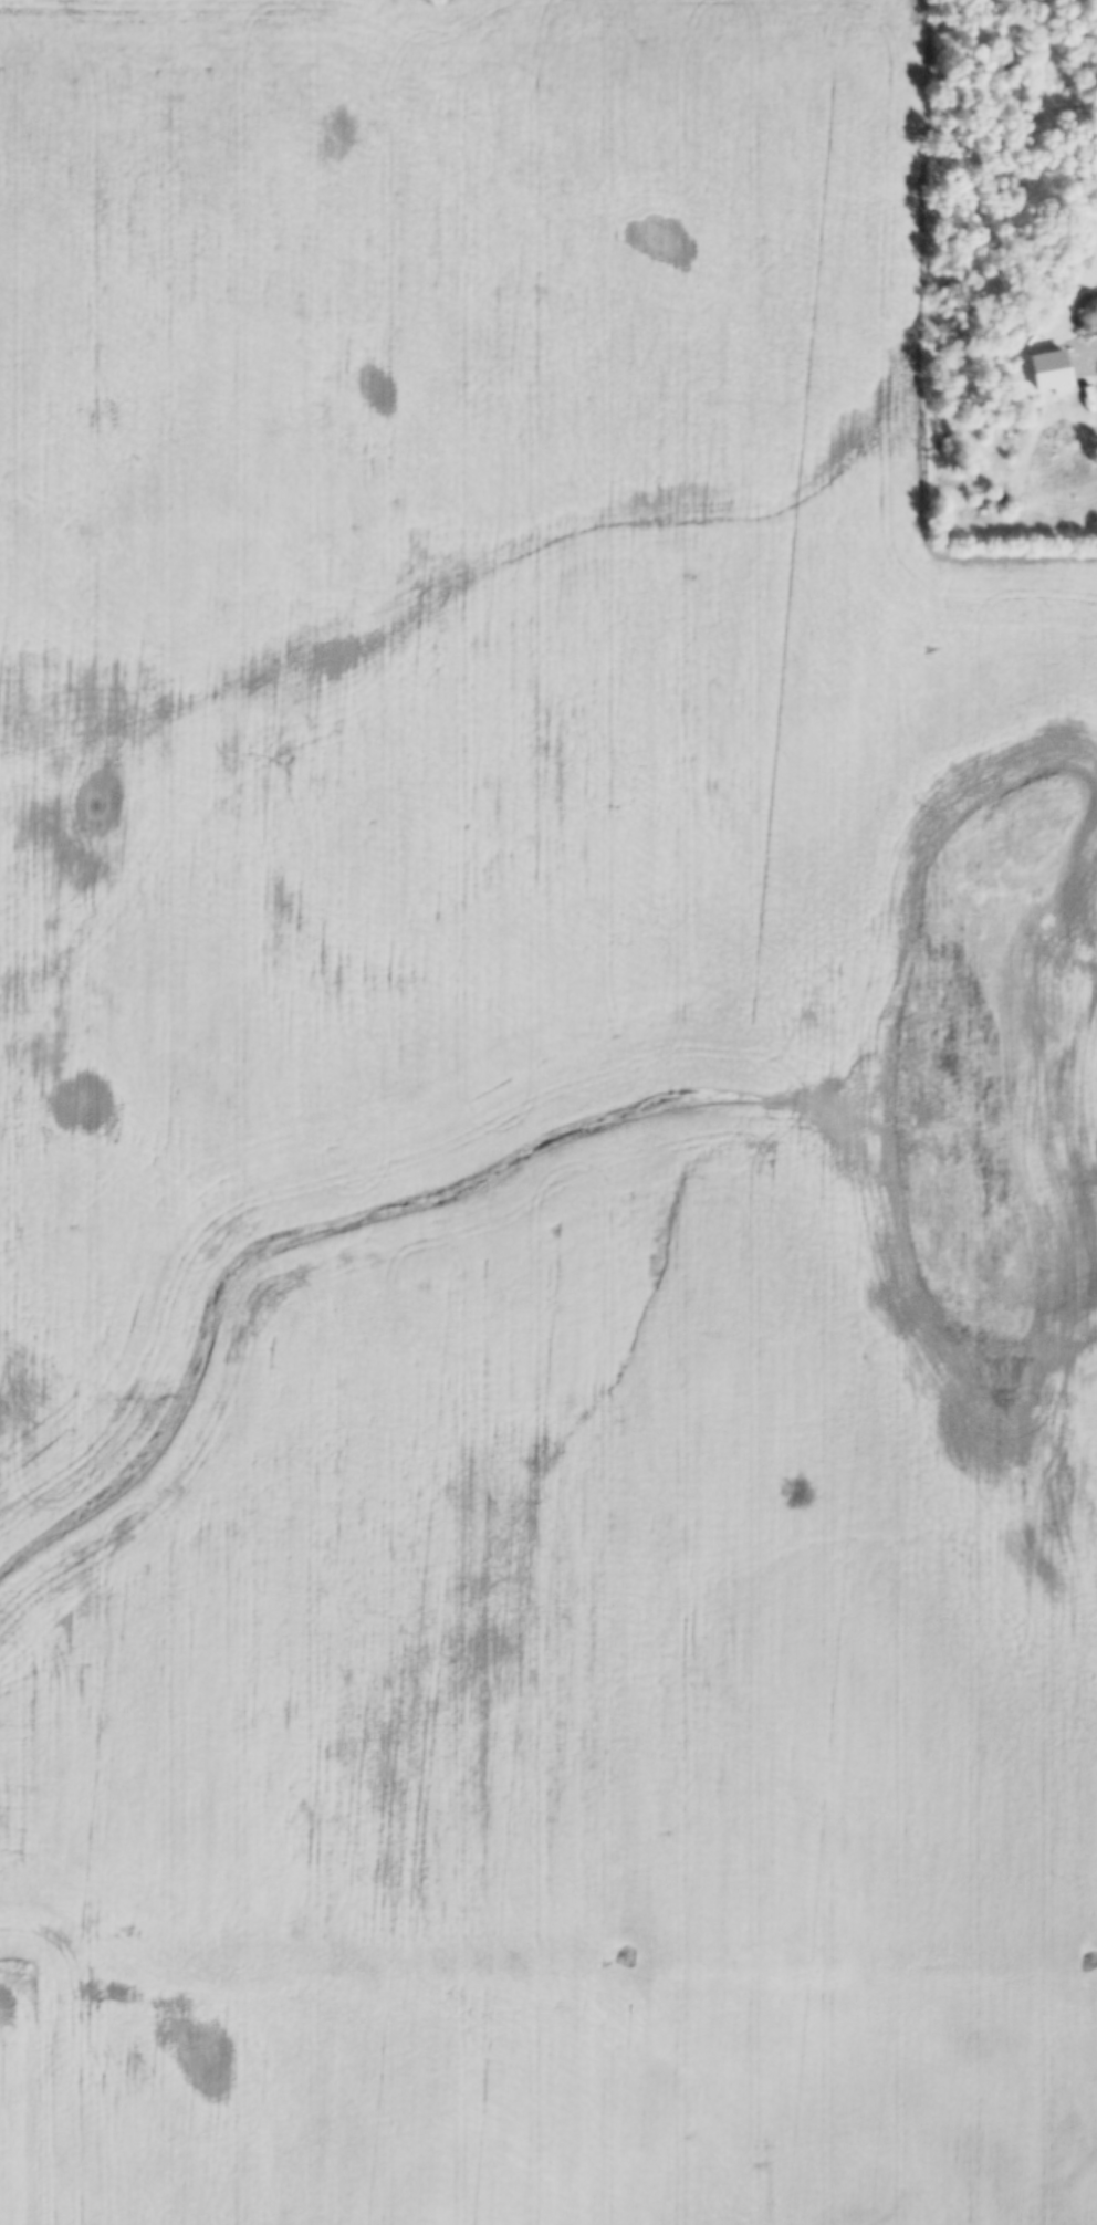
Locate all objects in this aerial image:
building: (1086, 311)
road: (1096, 352)

